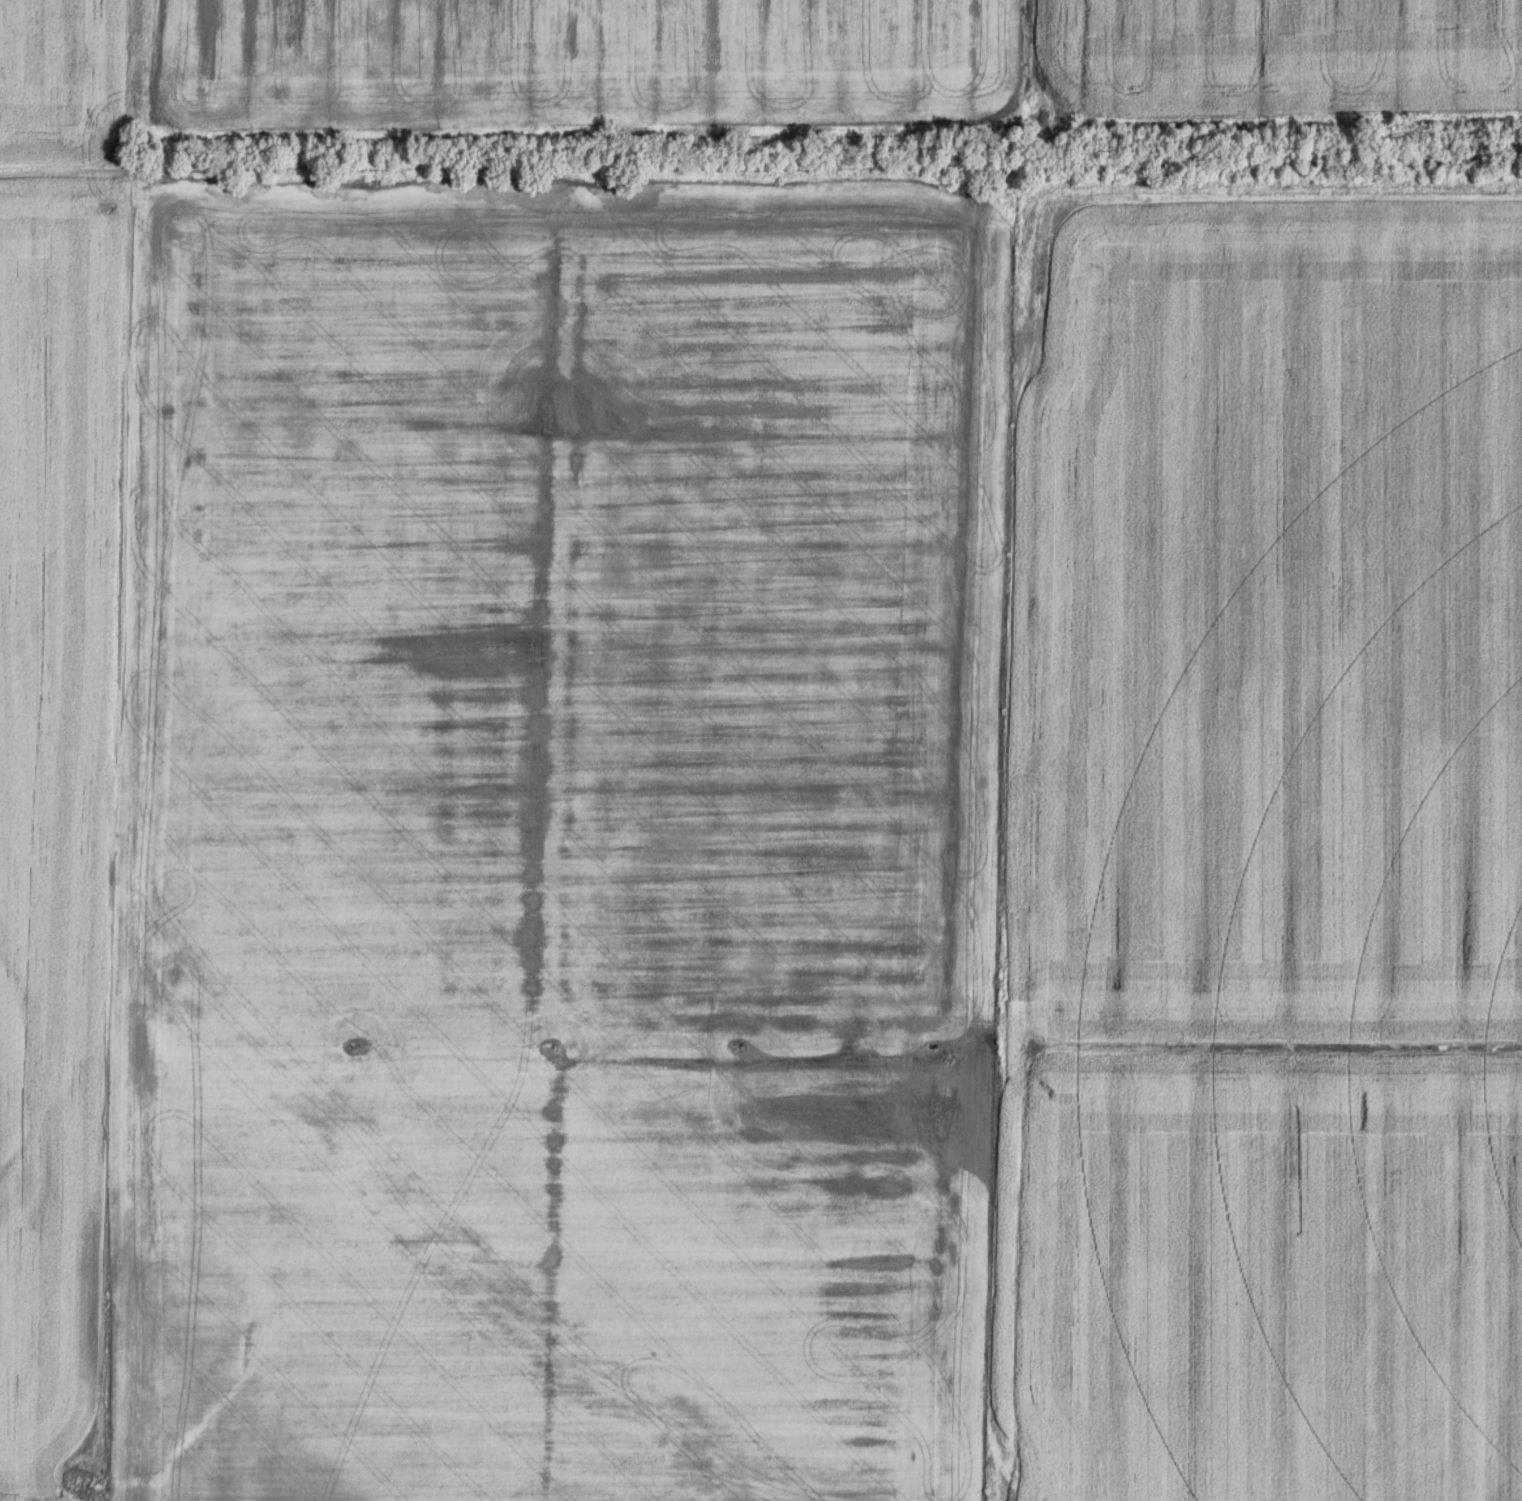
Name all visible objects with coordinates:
road: (983, 1380)

